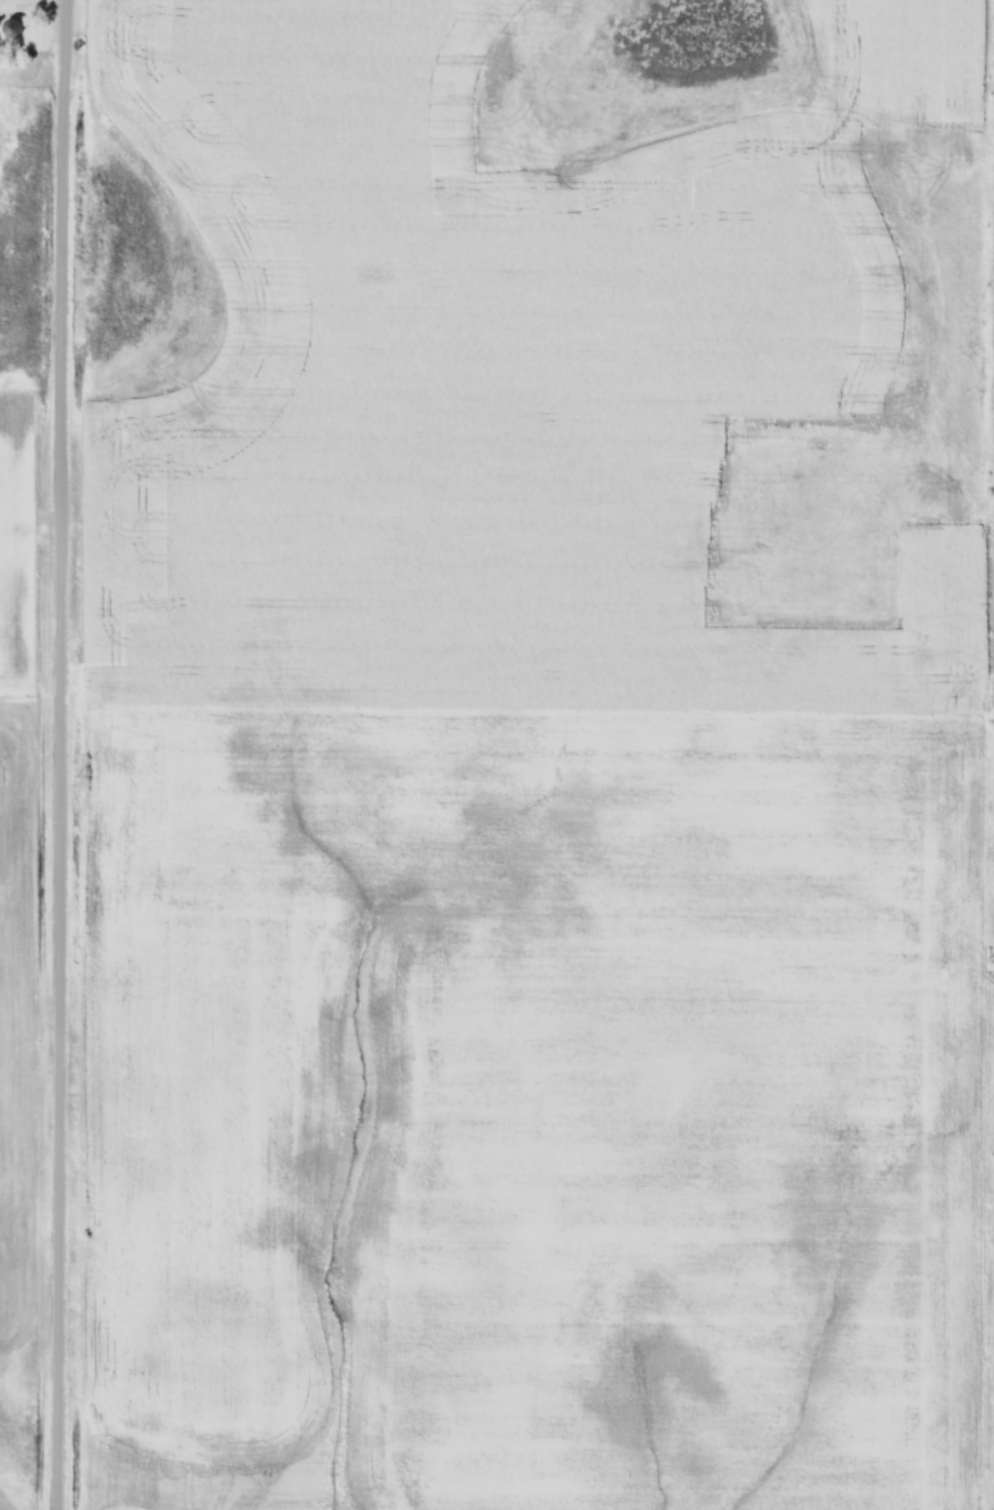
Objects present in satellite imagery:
road: (61, 755)

